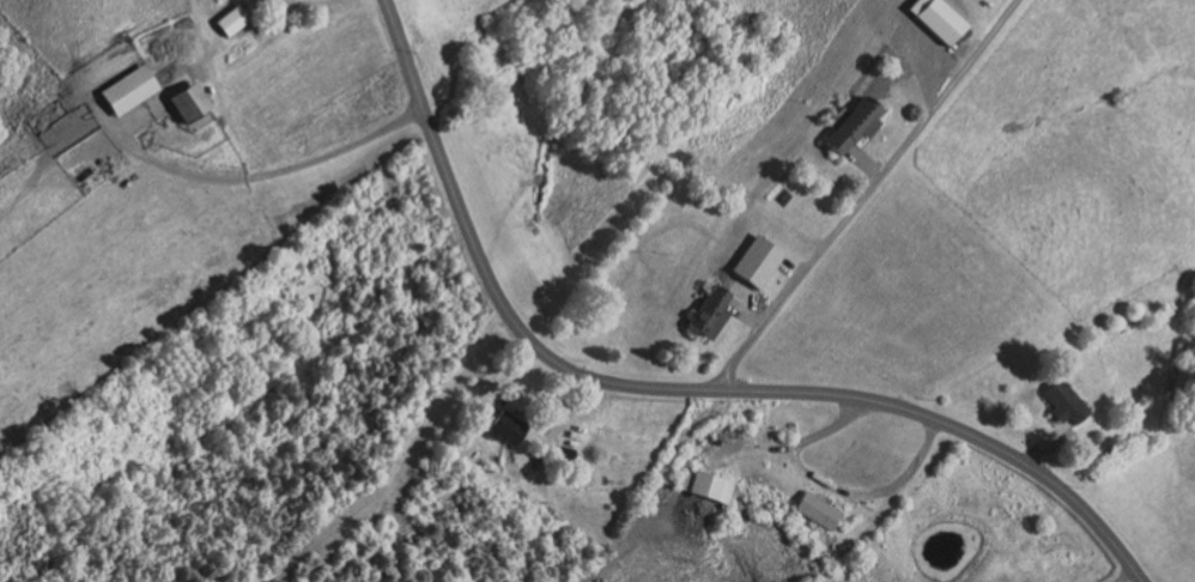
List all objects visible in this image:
road: (305, 1)
building: (938, 18)
building: (232, 19)
road: (924, 78)
road: (945, 86)
building: (129, 89)
building: (850, 125)
road: (335, 151)
road: (862, 159)
road: (170, 168)
road: (48, 174)
building: (769, 265)
road: (796, 279)
road: (780, 285)
road: (753, 302)
building: (709, 313)
road: (741, 315)
road: (678, 386)
road: (556, 396)
building: (1057, 402)
building: (501, 426)
road: (1042, 439)
road: (751, 443)
building: (1100, 444)
building: (558, 450)
road: (402, 460)
building: (703, 484)
road: (836, 484)
building: (817, 510)
road: (1126, 576)

